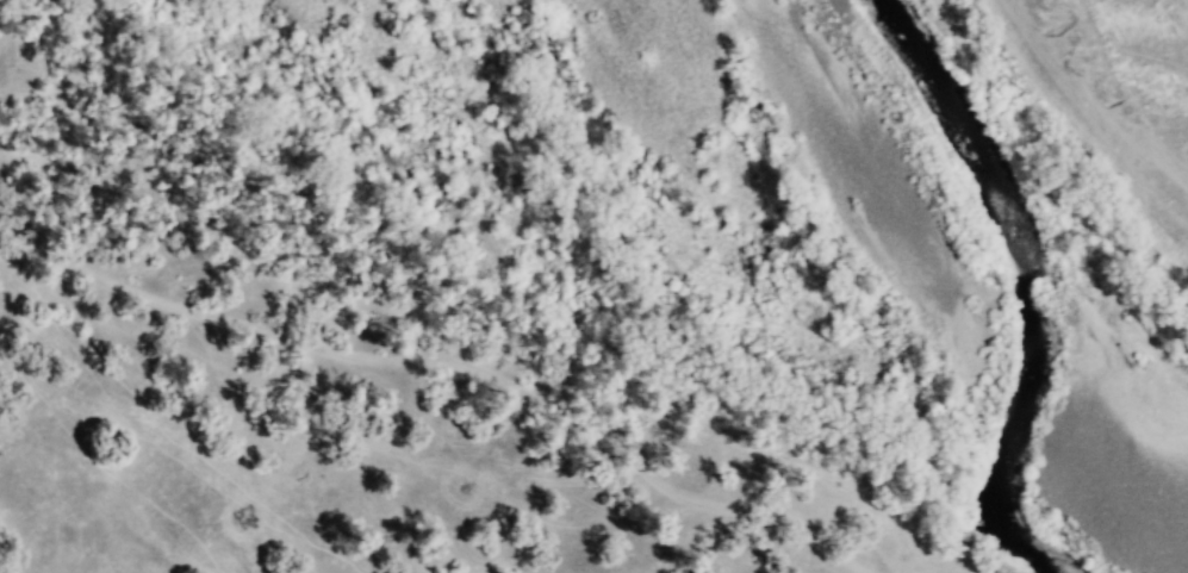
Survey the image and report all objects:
river: (1032, 279)

